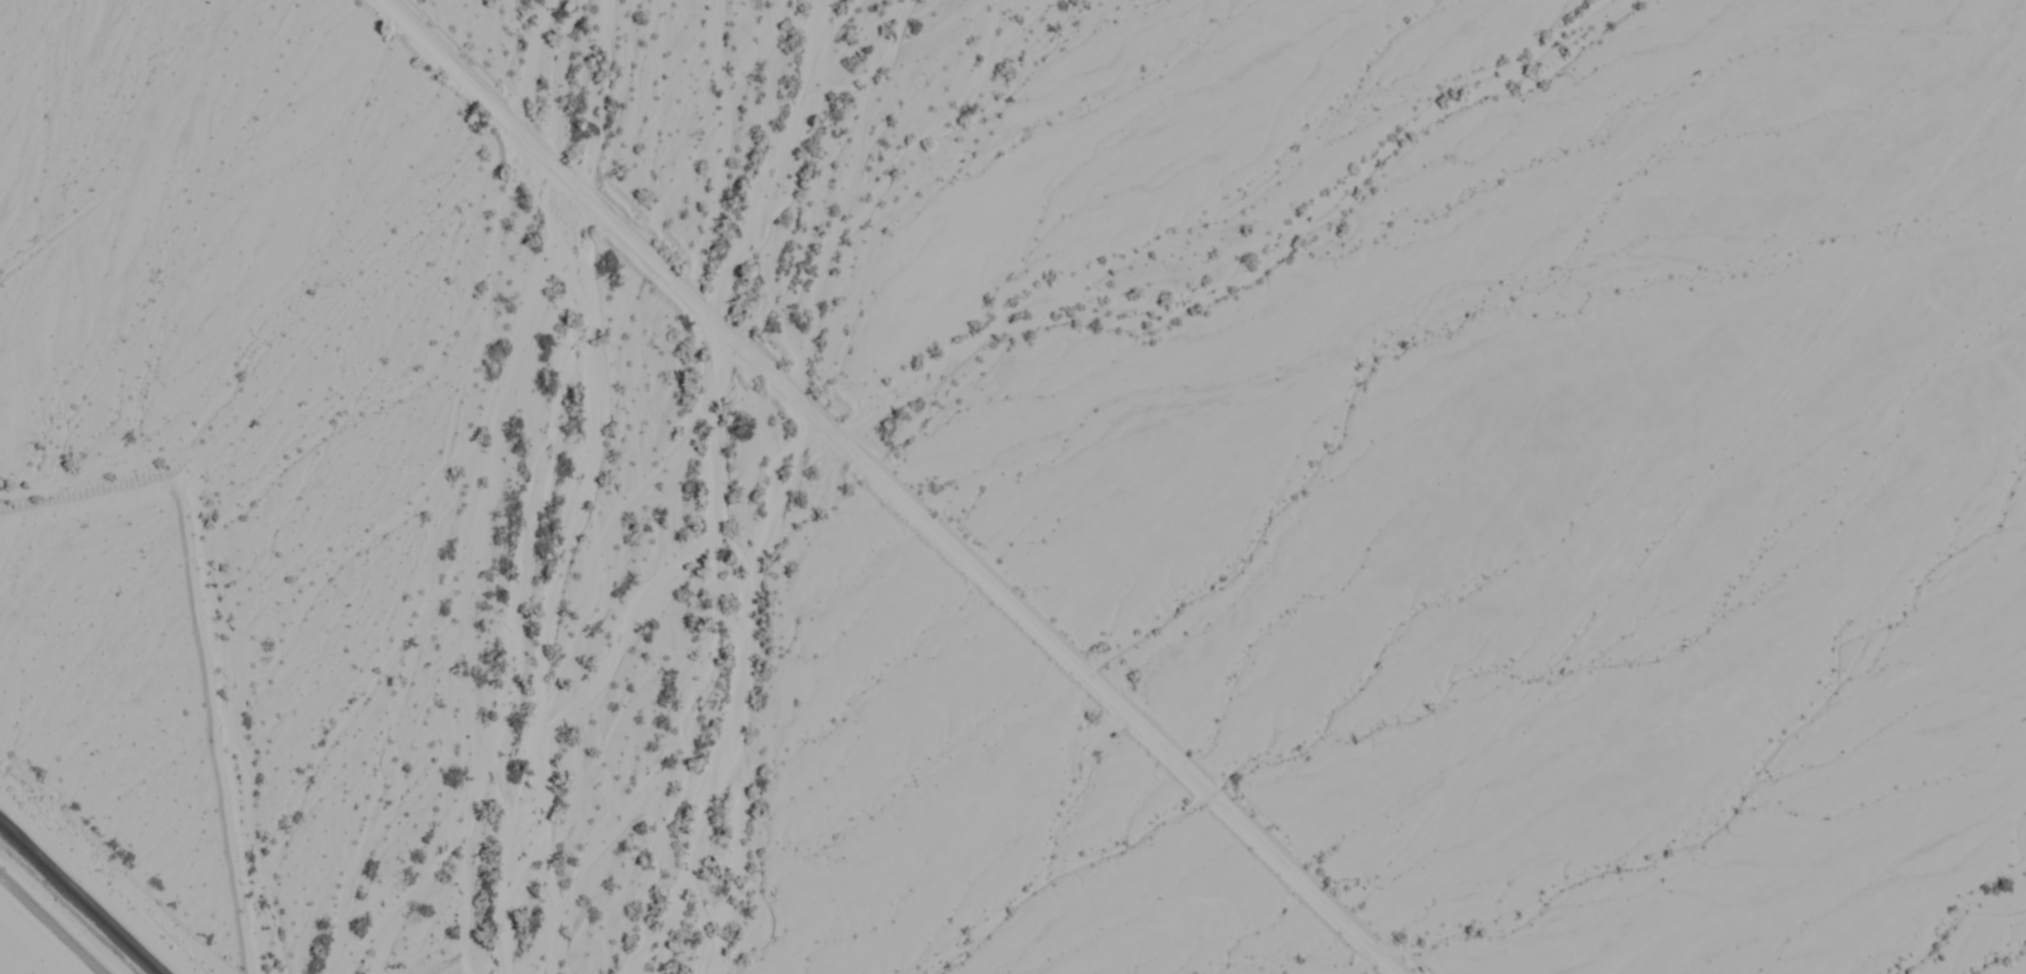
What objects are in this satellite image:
road: (862, 490)
railway: (80, 897)
road: (52, 925)

